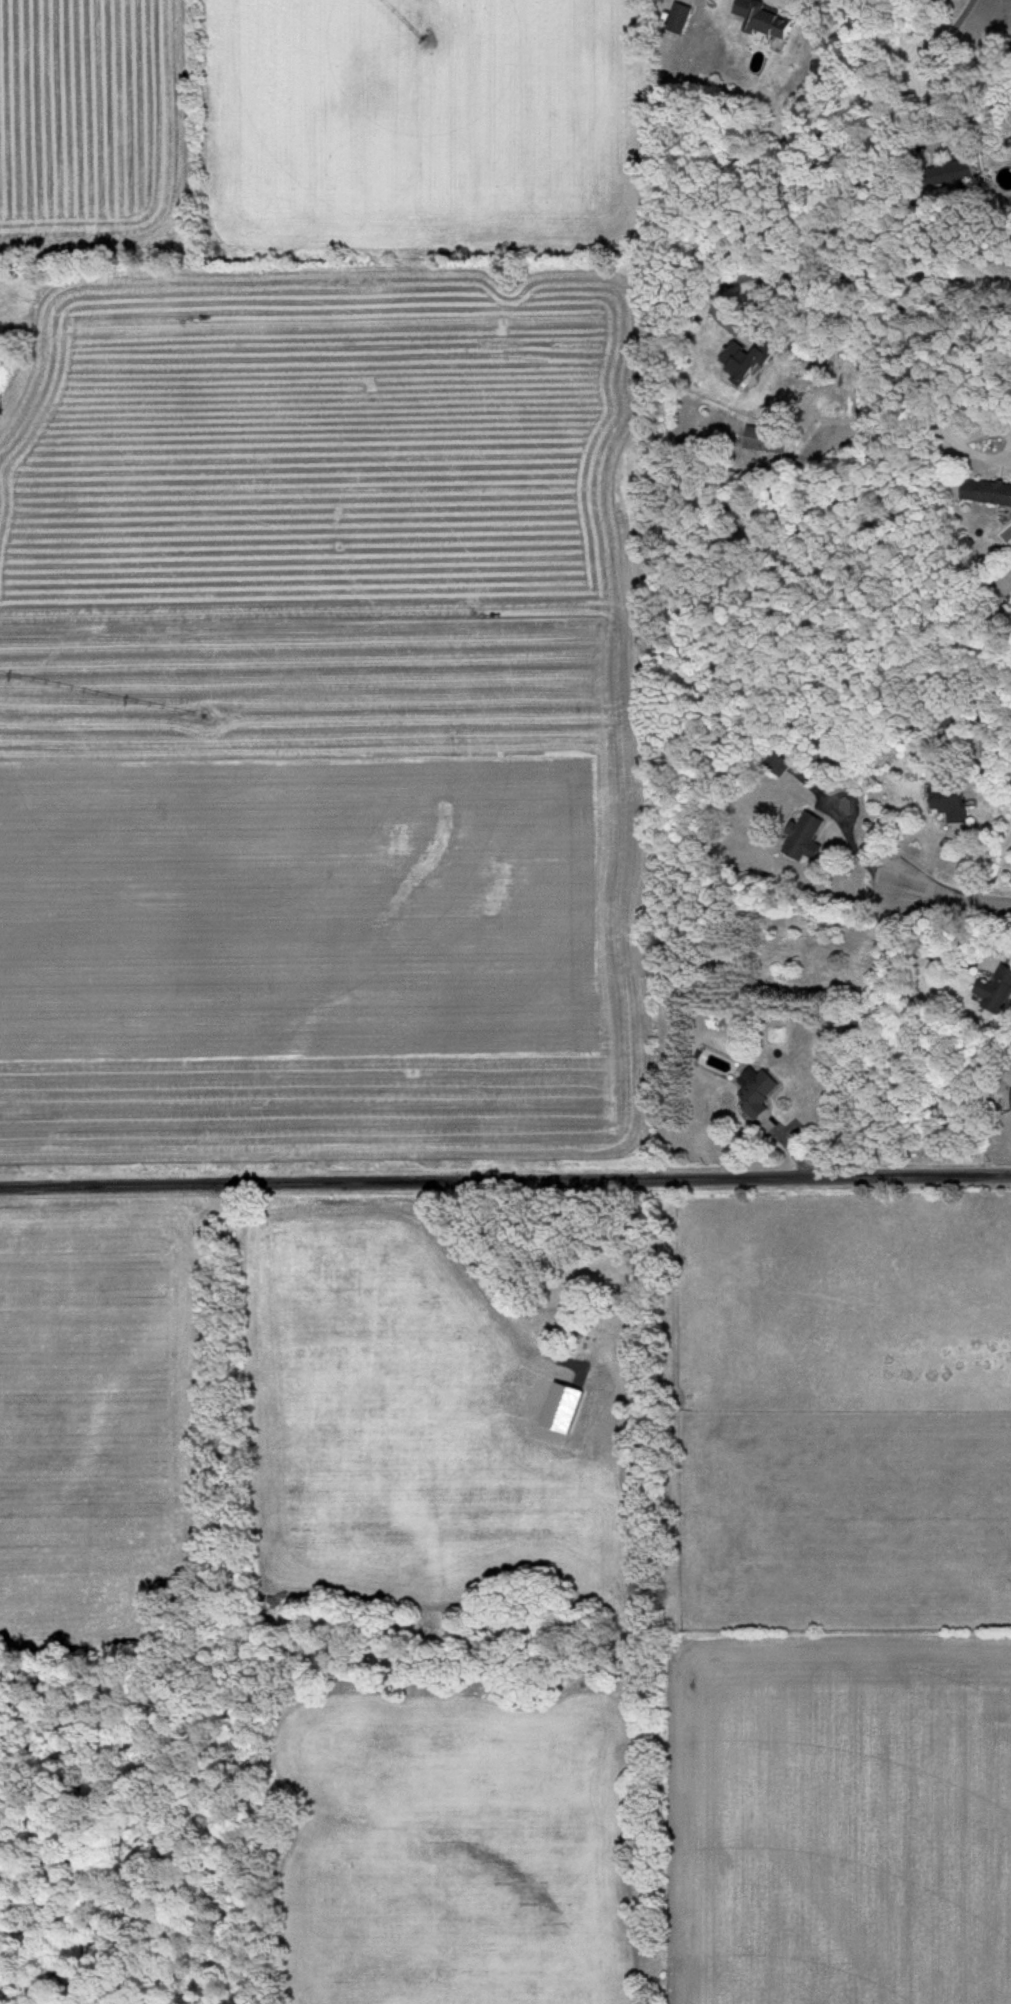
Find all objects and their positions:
building: (679, 18)
building: (767, 19)
road: (934, 69)
building: (953, 173)
road: (880, 278)
building: (746, 362)
building: (767, 440)
building: (989, 492)
building: (950, 801)
building: (807, 838)
road: (856, 858)
road: (954, 899)
building: (996, 991)
building: (760, 1094)
road: (505, 1185)

